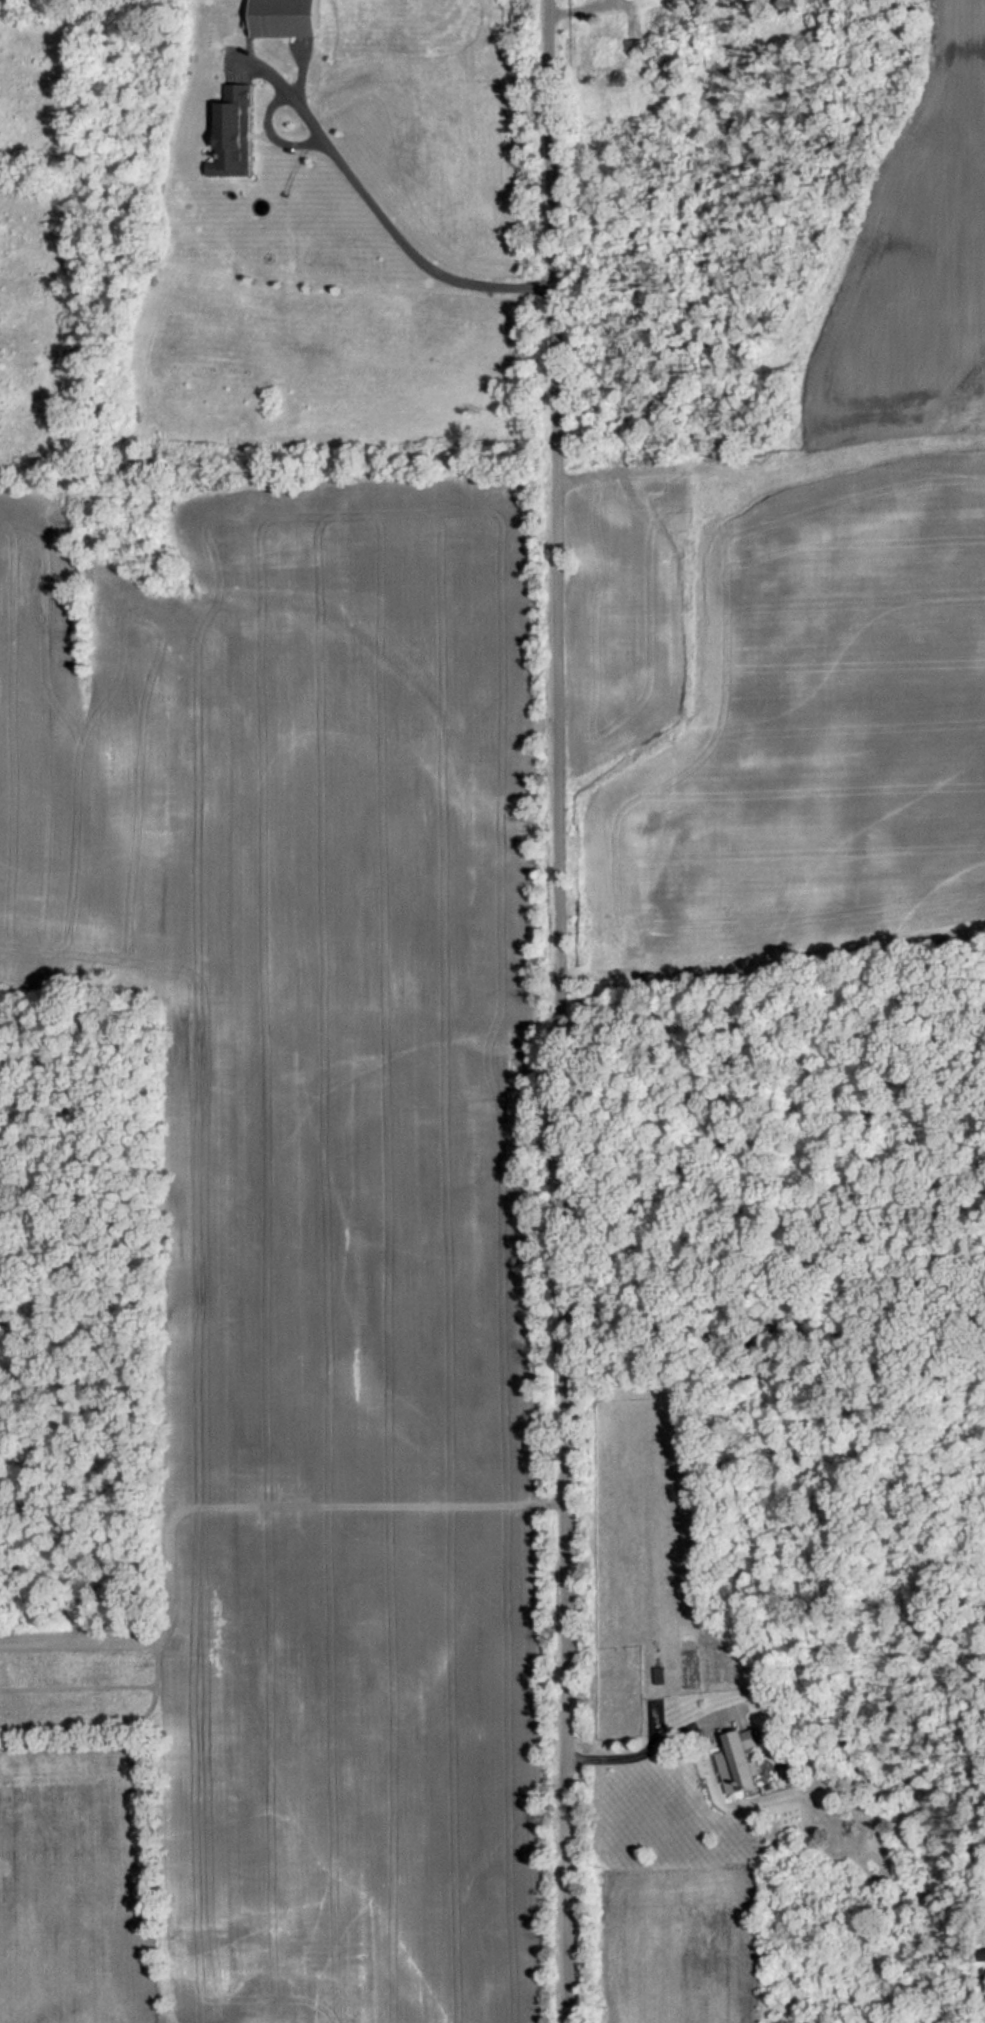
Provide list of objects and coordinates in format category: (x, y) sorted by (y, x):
building: (285, 17)
building: (606, 49)
building: (233, 130)
road: (362, 191)
road: (559, 1011)
road: (654, 1722)
road: (656, 1743)
building: (738, 1761)
building: (982, 1952)

